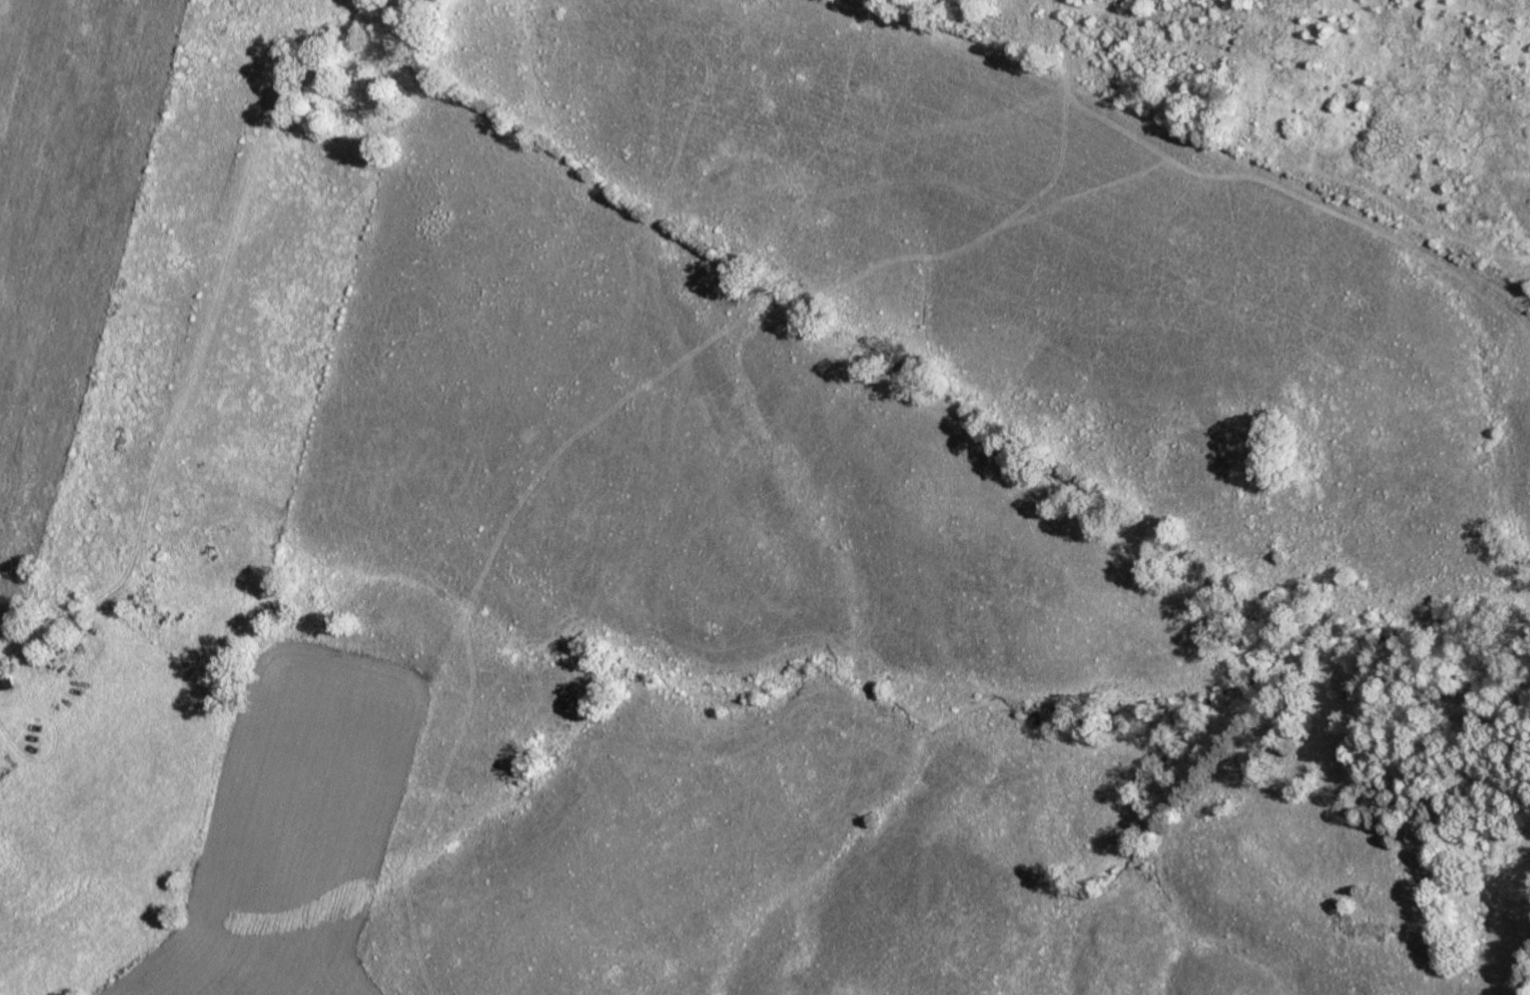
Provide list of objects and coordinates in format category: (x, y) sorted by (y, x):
building: (6, 682)

